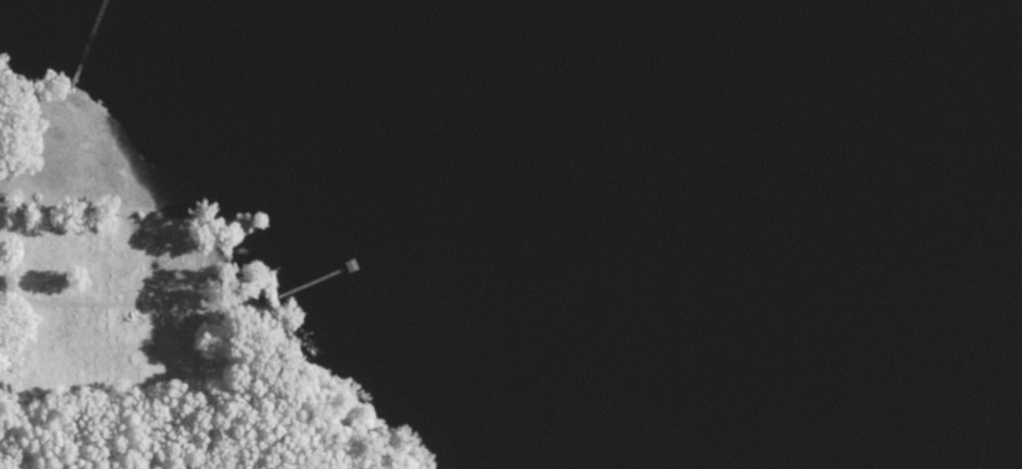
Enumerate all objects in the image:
pier: (97, 37)
river: (876, 234)
pier: (310, 286)

